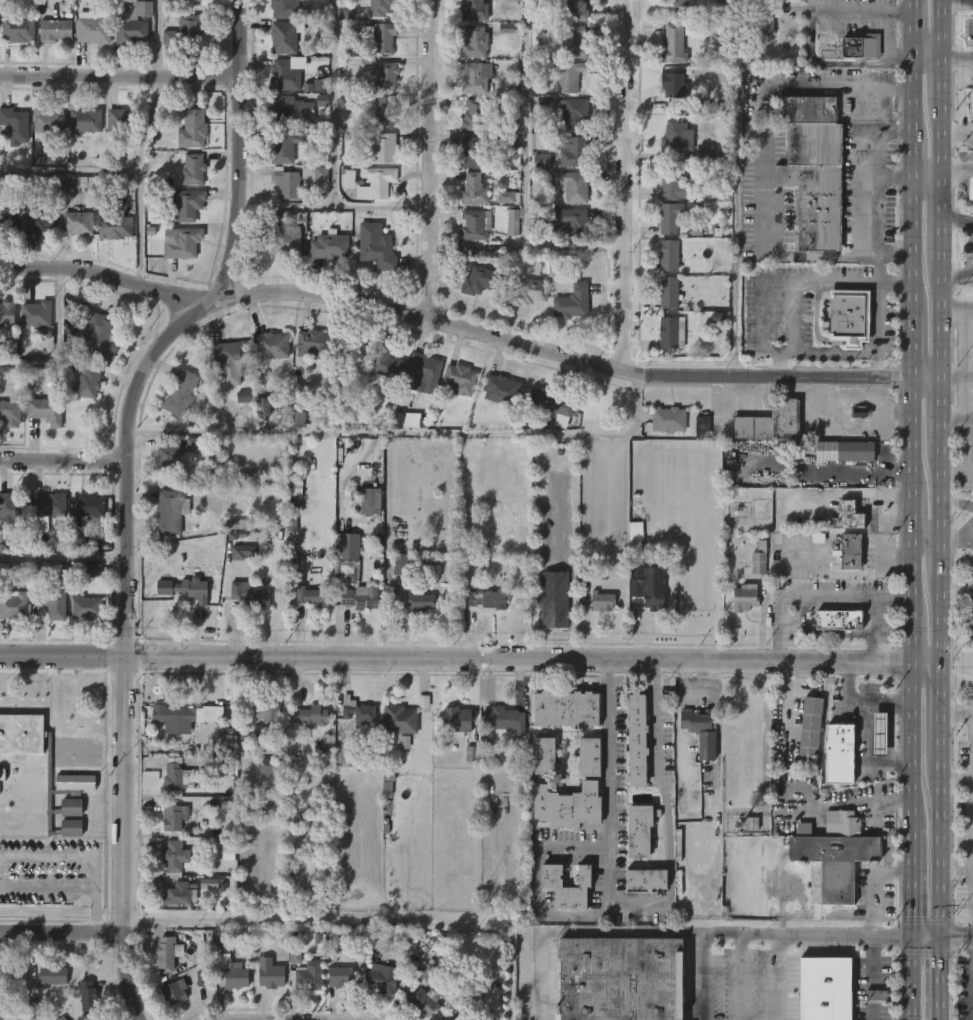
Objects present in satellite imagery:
building: (506, 0)
building: (725, 2)
building: (676, 5)
building: (382, 7)
building: (284, 8)
building: (474, 10)
building: (577, 10)
road: (866, 13)
building: (134, 22)
road: (941, 27)
building: (16, 28)
building: (506, 28)
building: (52, 29)
building: (92, 29)
building: (188, 30)
building: (384, 37)
road: (158, 38)
building: (285, 38)
building: (474, 42)
building: (576, 42)
building: (674, 43)
building: (858, 47)
road: (893, 53)
road: (957, 54)
road: (120, 75)
building: (286, 76)
building: (384, 76)
building: (570, 76)
road: (941, 76)
building: (473, 77)
building: (674, 84)
building: (321, 85)
road: (334, 103)
building: (972, 103)
building: (295, 111)
building: (387, 112)
building: (475, 112)
building: (749, 113)
building: (575, 114)
building: (971, 114)
building: (81, 119)
building: (45, 121)
building: (123, 122)
building: (14, 123)
road: (146, 126)
building: (189, 127)
building: (751, 133)
road: (957, 135)
road: (941, 137)
building: (676, 138)
building: (512, 141)
building: (285, 146)
building: (386, 149)
building: (472, 150)
building: (572, 151)
building: (705, 152)
road: (431, 159)
road: (869, 159)
building: (542, 161)
building: (813, 168)
road: (955, 169)
building: (192, 170)
building: (690, 173)
road: (120, 175)
building: (296, 179)
building: (350, 179)
building: (375, 182)
building: (670, 184)
building: (74, 185)
building: (573, 186)
road: (625, 186)
building: (474, 188)
building: (969, 188)
building: (506, 197)
road: (870, 201)
building: (185, 203)
road: (334, 206)
building: (692, 207)
building: (669, 216)
building: (9, 219)
building: (38, 219)
building: (113, 219)
road: (940, 219)
building: (78, 220)
building: (513, 222)
road: (956, 222)
building: (474, 224)
building: (572, 224)
building: (696, 229)
building: (284, 241)
road: (767, 242)
building: (181, 244)
building: (328, 247)
building: (375, 248)
building: (668, 255)
road: (956, 273)
building: (481, 280)
road: (779, 281)
building: (528, 293)
building: (668, 293)
building: (574, 301)
road: (956, 306)
building: (6, 312)
building: (35, 314)
road: (792, 315)
building: (846, 316)
road: (940, 318)
road: (468, 328)
building: (668, 332)
building: (100, 335)
building: (313, 343)
building: (269, 345)
building: (9, 349)
road: (874, 350)
building: (356, 354)
building: (232, 355)
building: (384, 363)
building: (421, 370)
road: (956, 376)
building: (460, 378)
building: (88, 382)
building: (500, 390)
building: (180, 395)
building: (243, 397)
building: (553, 401)
building: (263, 407)
building: (47, 410)
road: (911, 410)
road: (940, 410)
building: (9, 412)
building: (295, 415)
building: (667, 419)
road: (956, 419)
building: (406, 420)
building: (768, 423)
building: (702, 427)
road: (967, 428)
building: (195, 445)
road: (963, 450)
building: (845, 451)
building: (166, 458)
road: (64, 461)
road: (956, 470)
building: (295, 487)
road: (939, 491)
road: (128, 492)
building: (373, 501)
road: (956, 503)
building: (51, 504)
building: (87, 506)
building: (12, 507)
building: (173, 511)
building: (847, 516)
building: (234, 524)
road: (966, 527)
road: (950, 538)
road: (925, 539)
road: (967, 541)
building: (92, 543)
building: (348, 543)
building: (849, 551)
building: (242, 552)
road: (63, 556)
road: (938, 556)
building: (761, 558)
building: (401, 564)
building: (93, 571)
building: (191, 584)
building: (252, 595)
building: (317, 595)
building: (648, 596)
building: (358, 598)
building: (745, 598)
road: (828, 598)
building: (489, 599)
building: (553, 599)
building: (417, 600)
road: (893, 600)
building: (602, 601)
building: (53, 602)
building: (13, 604)
building: (87, 607)
building: (838, 618)
road: (938, 624)
road: (469, 659)
road: (955, 681)
road: (697, 690)
road: (859, 705)
building: (566, 710)
building: (357, 711)
building: (260, 713)
building: (309, 714)
road: (955, 715)
road: (938, 716)
building: (175, 717)
building: (399, 720)
building: (456, 720)
building: (503, 720)
building: (696, 720)
building: (810, 729)
road: (718, 732)
road: (867, 733)
building: (878, 734)
road: (890, 734)
building: (636, 738)
building: (404, 742)
building: (707, 746)
building: (472, 754)
building: (839, 754)
building: (543, 757)
building: (589, 757)
road: (889, 764)
building: (47, 765)
building: (270, 766)
building: (2, 774)
building: (172, 775)
road: (666, 801)
building: (567, 807)
road: (607, 811)
building: (173, 817)
building: (638, 830)
road: (938, 846)
road: (972, 848)
building: (835, 852)
road: (60, 854)
building: (171, 855)
road: (956, 867)
building: (645, 878)
road: (911, 878)
building: (211, 883)
building: (550, 883)
road: (536, 884)
road: (47, 887)
building: (179, 894)
road: (95, 910)
road: (870, 928)
road: (574, 930)
road: (61, 933)
road: (762, 934)
traffic signals: (940, 934)
road: (942, 934)
traffic signals: (912, 935)
building: (310, 942)
building: (166, 952)
building: (294, 955)
building: (427, 972)
building: (11, 973)
building: (236, 976)
building: (269, 976)
building: (309, 976)
building: (338, 977)
road: (737, 977)
road: (775, 977)
road: (911, 977)
road: (940, 977)
building: (385, 978)
building: (201, 979)
building: (615, 979)
building: (45, 983)
building: (823, 988)
building: (172, 993)
building: (87, 996)
building: (425, 1003)
building: (100, 1019)

